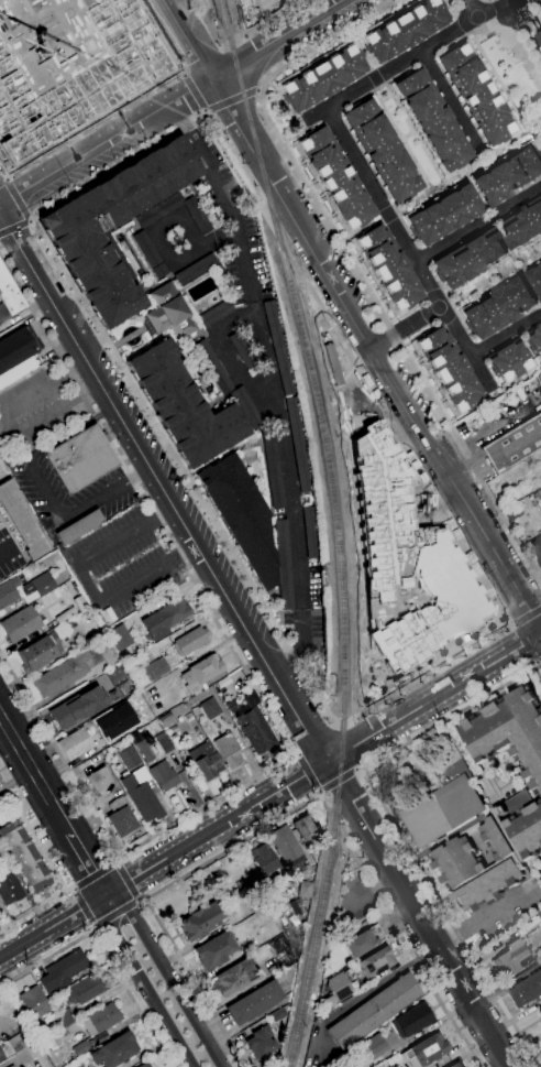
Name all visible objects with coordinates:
road: (196, 3)
park: (265, 4)
building: (29, 7)
road: (470, 9)
water tower: (522, 19)
road: (297, 24)
road: (262, 25)
building: (406, 29)
road: (525, 31)
building: (539, 36)
road: (360, 50)
building: (539, 50)
road: (516, 51)
road: (229, 58)
road: (408, 59)
road: (201, 62)
road: (181, 72)
road: (376, 77)
building: (81, 78)
building: (324, 78)
road: (384, 85)
road: (380, 86)
road: (377, 88)
road: (194, 90)
road: (258, 91)
building: (476, 95)
road: (230, 99)
road: (451, 101)
road: (205, 111)
road: (184, 117)
building: (433, 120)
road: (87, 128)
road: (415, 134)
road: (103, 141)
road: (402, 141)
building: (383, 151)
road: (468, 168)
building: (508, 175)
building: (336, 177)
road: (7, 178)
road: (2, 182)
road: (16, 199)
building: (158, 210)
building: (444, 214)
road: (232, 215)
road: (388, 215)
road: (31, 219)
road: (477, 222)
road: (14, 226)
building: (522, 226)
road: (361, 229)
road: (409, 252)
building: (150, 253)
building: (91, 257)
building: (470, 258)
road: (354, 266)
building: (390, 268)
building: (198, 270)
building: (536, 279)
road: (492, 280)
building: (9, 293)
building: (499, 307)
building: (2, 313)
building: (169, 313)
building: (216, 313)
road: (349, 314)
road: (405, 326)
road: (95, 327)
road: (506, 335)
building: (534, 340)
building: (278, 347)
building: (18, 349)
building: (242, 350)
road: (232, 357)
building: (510, 360)
building: (213, 366)
building: (451, 370)
building: (18, 371)
railway: (311, 373)
road: (44, 385)
building: (184, 405)
parking lot: (36, 409)
building: (247, 409)
road: (46, 413)
building: (515, 444)
building: (298, 445)
road: (284, 455)
building: (81, 459)
building: (273, 467)
building: (2, 470)
road: (163, 484)
road: (44, 488)
building: (538, 496)
building: (512, 511)
road: (161, 512)
building: (242, 514)
road: (443, 514)
building: (22, 521)
building: (79, 526)
building: (310, 532)
building: (537, 549)
road: (5, 551)
road: (184, 553)
parking lot: (8, 554)
building: (405, 558)
building: (284, 565)
road: (86, 583)
building: (24, 590)
building: (79, 602)
building: (64, 614)
road: (523, 614)
building: (164, 619)
building: (20, 624)
road: (303, 628)
building: (118, 636)
building: (190, 641)
road: (520, 646)
building: (41, 652)
building: (107, 652)
road: (288, 656)
road: (539, 665)
building: (153, 667)
building: (201, 671)
building: (62, 674)
building: (114, 674)
building: (231, 683)
road: (256, 690)
road: (434, 699)
building: (241, 700)
building: (78, 707)
building: (210, 708)
road: (1, 717)
building: (164, 718)
building: (173, 729)
building: (256, 730)
building: (509, 731)
building: (81, 740)
building: (163, 741)
building: (145, 750)
building: (229, 750)
road: (296, 753)
building: (128, 755)
building: (174, 759)
building: (206, 760)
park: (407, 766)
road: (358, 770)
road: (308, 772)
road: (35, 773)
building: (140, 775)
building: (164, 775)
building: (99, 779)
road: (336, 779)
building: (142, 798)
building: (445, 799)
road: (324, 807)
building: (121, 817)
building: (305, 826)
road: (395, 826)
road: (217, 828)
road: (33, 834)
building: (286, 846)
building: (490, 851)
building: (24, 856)
building: (263, 859)
road: (118, 860)
road: (88, 864)
road: (93, 875)
road: (126, 881)
building: (9, 888)
building: (305, 890)
road: (148, 897)
road: (142, 900)
road: (84, 906)
building: (296, 906)
road: (35, 907)
road: (115, 912)
railway: (321, 912)
road: (419, 914)
road: (484, 916)
building: (202, 921)
road: (53, 927)
road: (92, 928)
building: (363, 940)
road: (407, 946)
building: (214, 950)
building: (281, 951)
road: (103, 952)
building: (511, 958)
building: (376, 962)
flagpole: (485, 966)
building: (63, 971)
road: (167, 977)
building: (234, 977)
road: (143, 982)
building: (85, 989)
building: (336, 990)
building: (527, 990)
building: (34, 1002)
building: (254, 1002)
building: (540, 1009)
building: (373, 1011)
building: (540, 1011)
building: (278, 1016)
building: (65, 1017)
building: (101, 1019)
building: (412, 1020)
building: (41, 1033)
building: (21, 1039)
building: (261, 1042)
building: (55, 1043)
building: (80, 1048)
building: (371, 1048)
building: (428, 1049)
building: (114, 1050)
building: (1, 1056)
building: (144, 1065)
building: (455, 1065)
building: (11, 1066)

